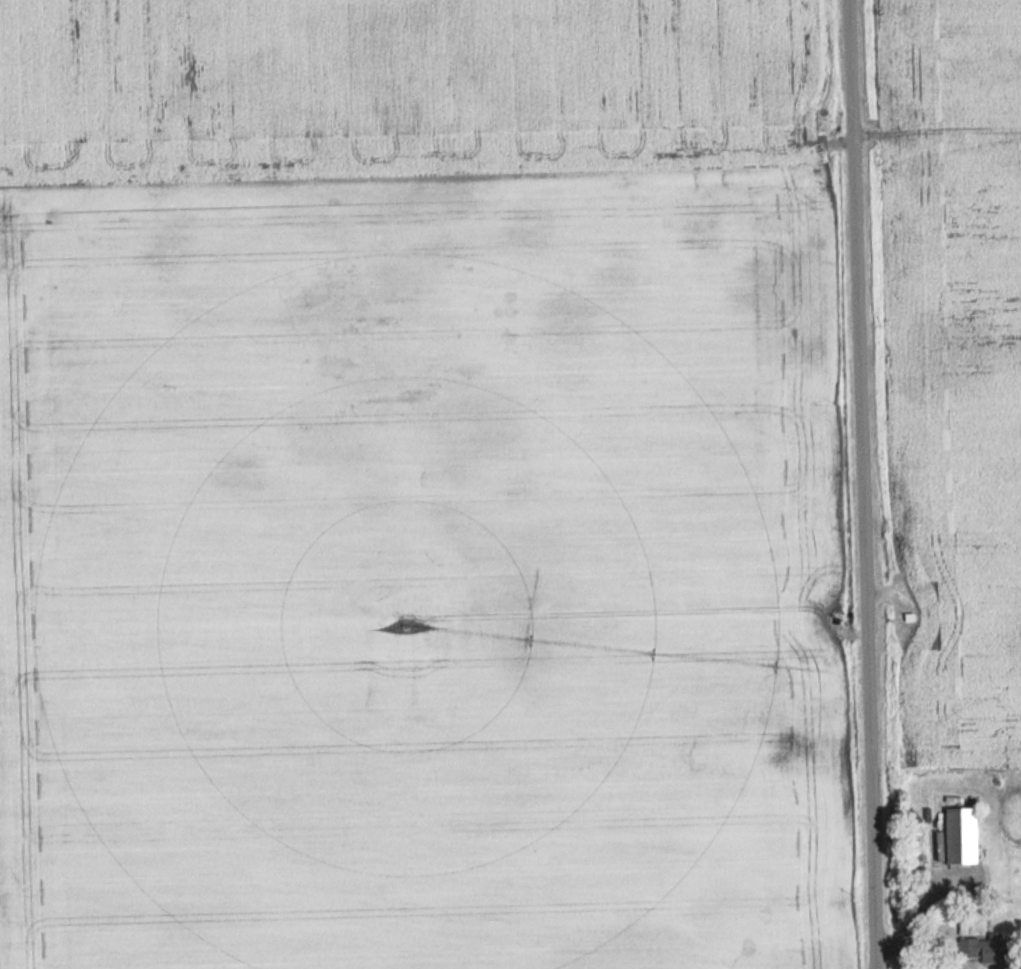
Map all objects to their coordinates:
road: (864, 484)
building: (954, 836)
road: (923, 905)
building: (977, 948)

